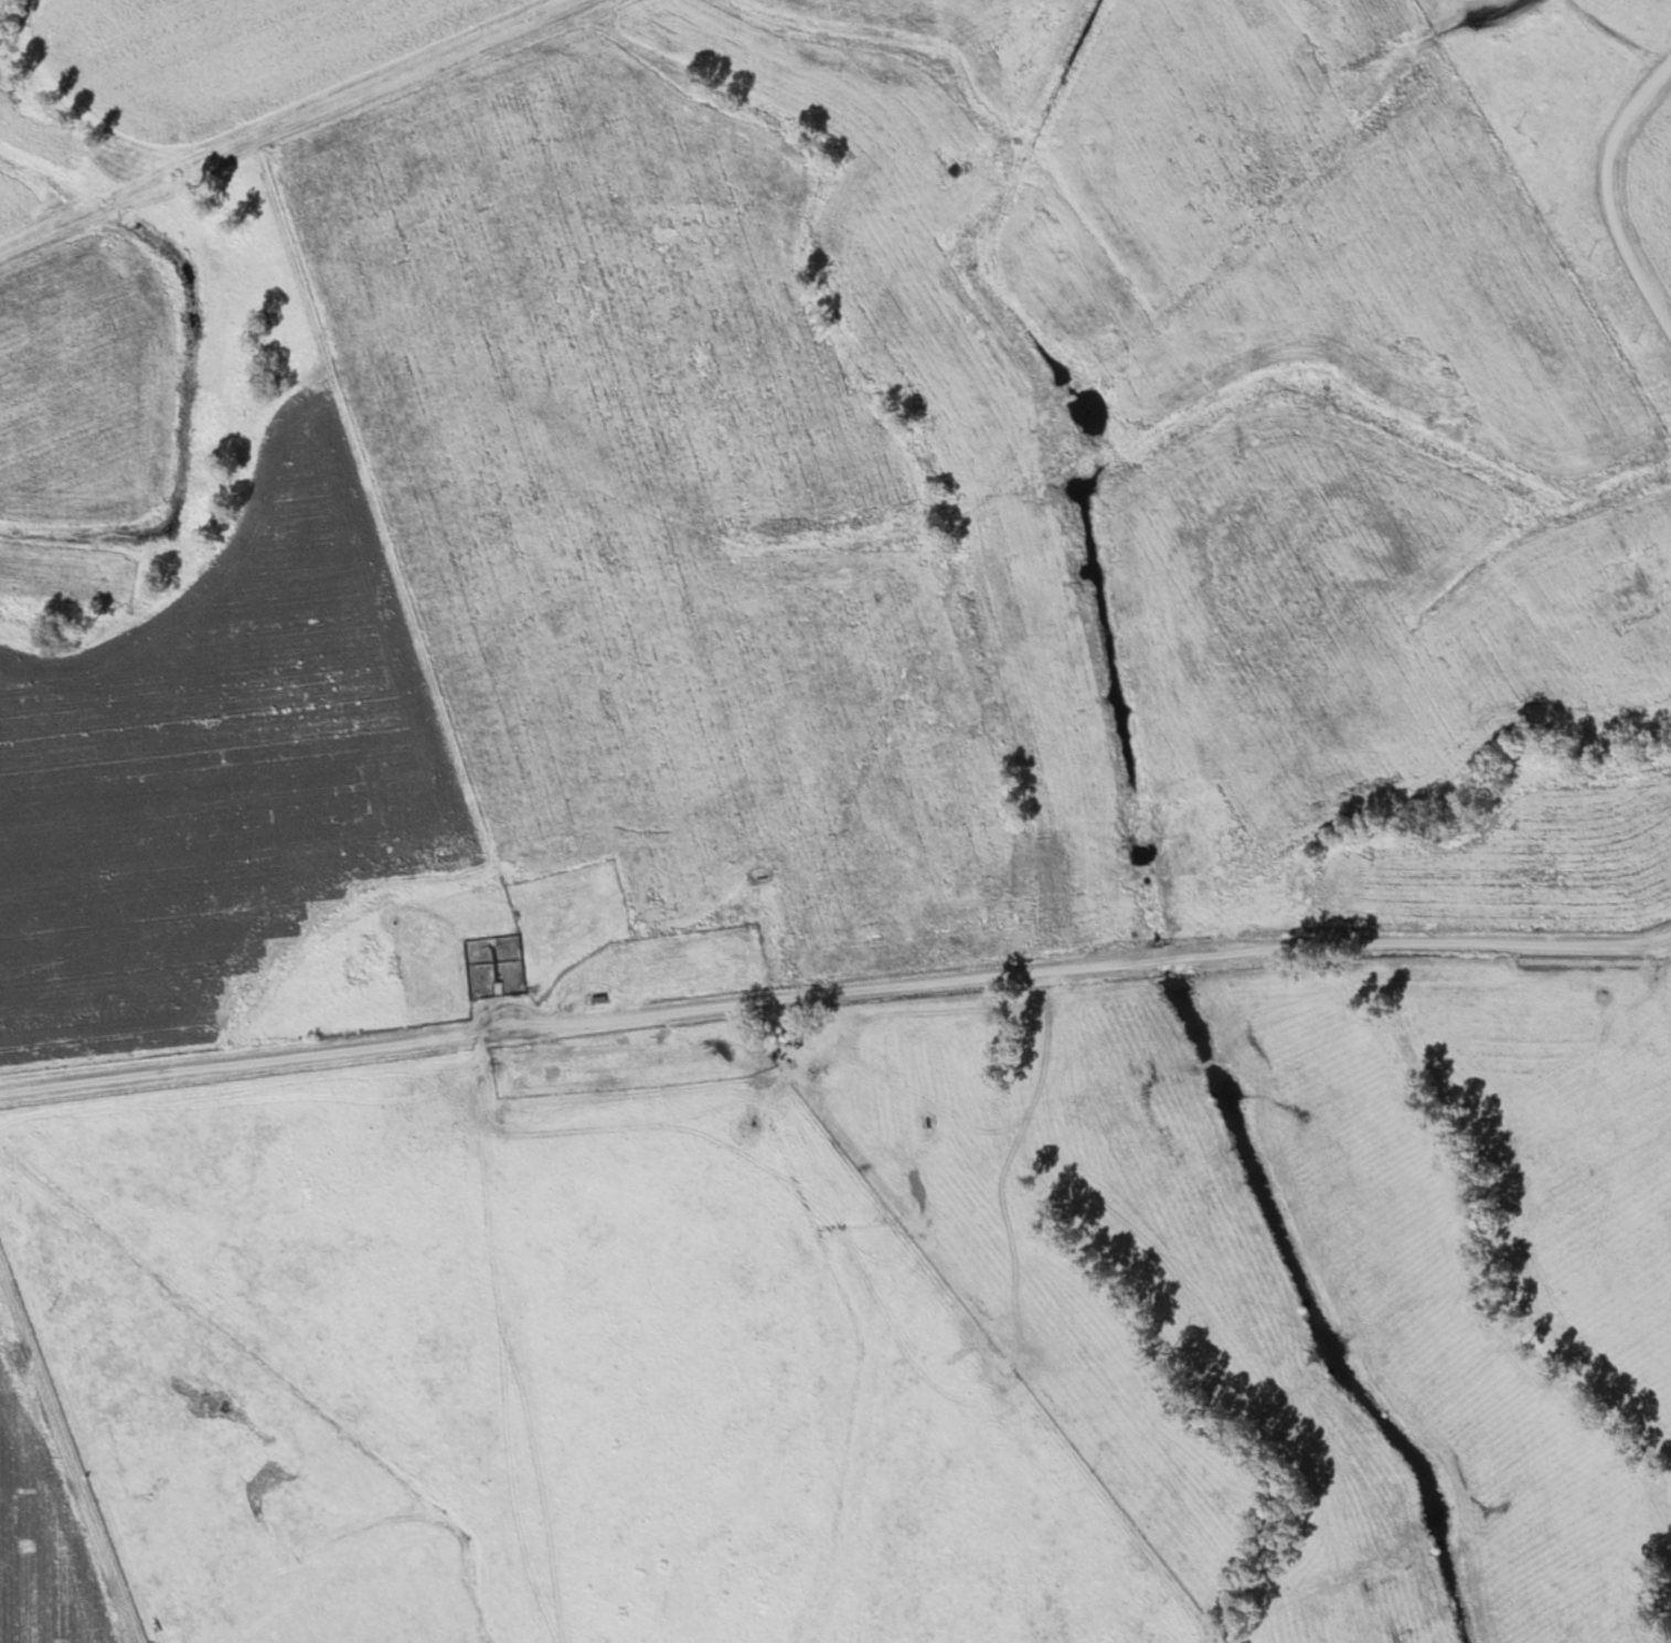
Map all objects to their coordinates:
building: (611, 993)
road: (837, 1005)

